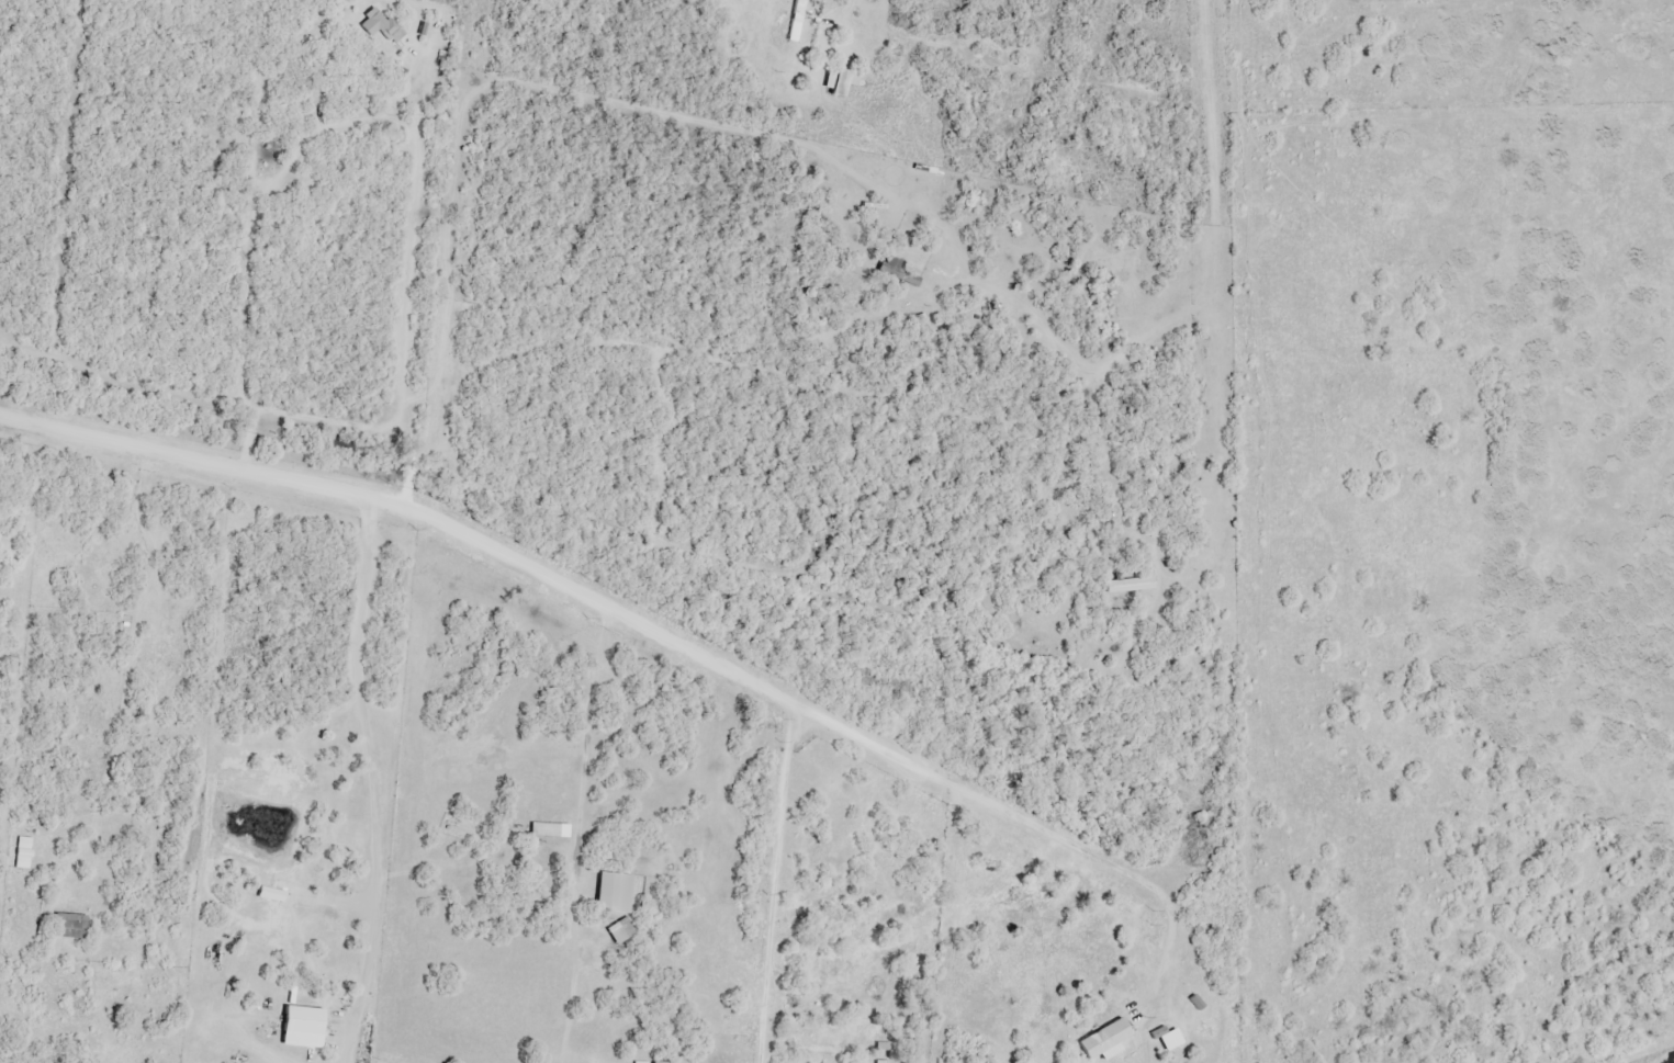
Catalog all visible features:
building: (797, 20)
building: (380, 24)
road: (418, 132)
building: (898, 272)
building: (1131, 585)
road: (580, 592)
road: (586, 739)
building: (23, 853)
building: (615, 894)
road: (1169, 921)
building: (71, 927)
building: (621, 931)
building: (305, 1021)
building: (636, 1062)

